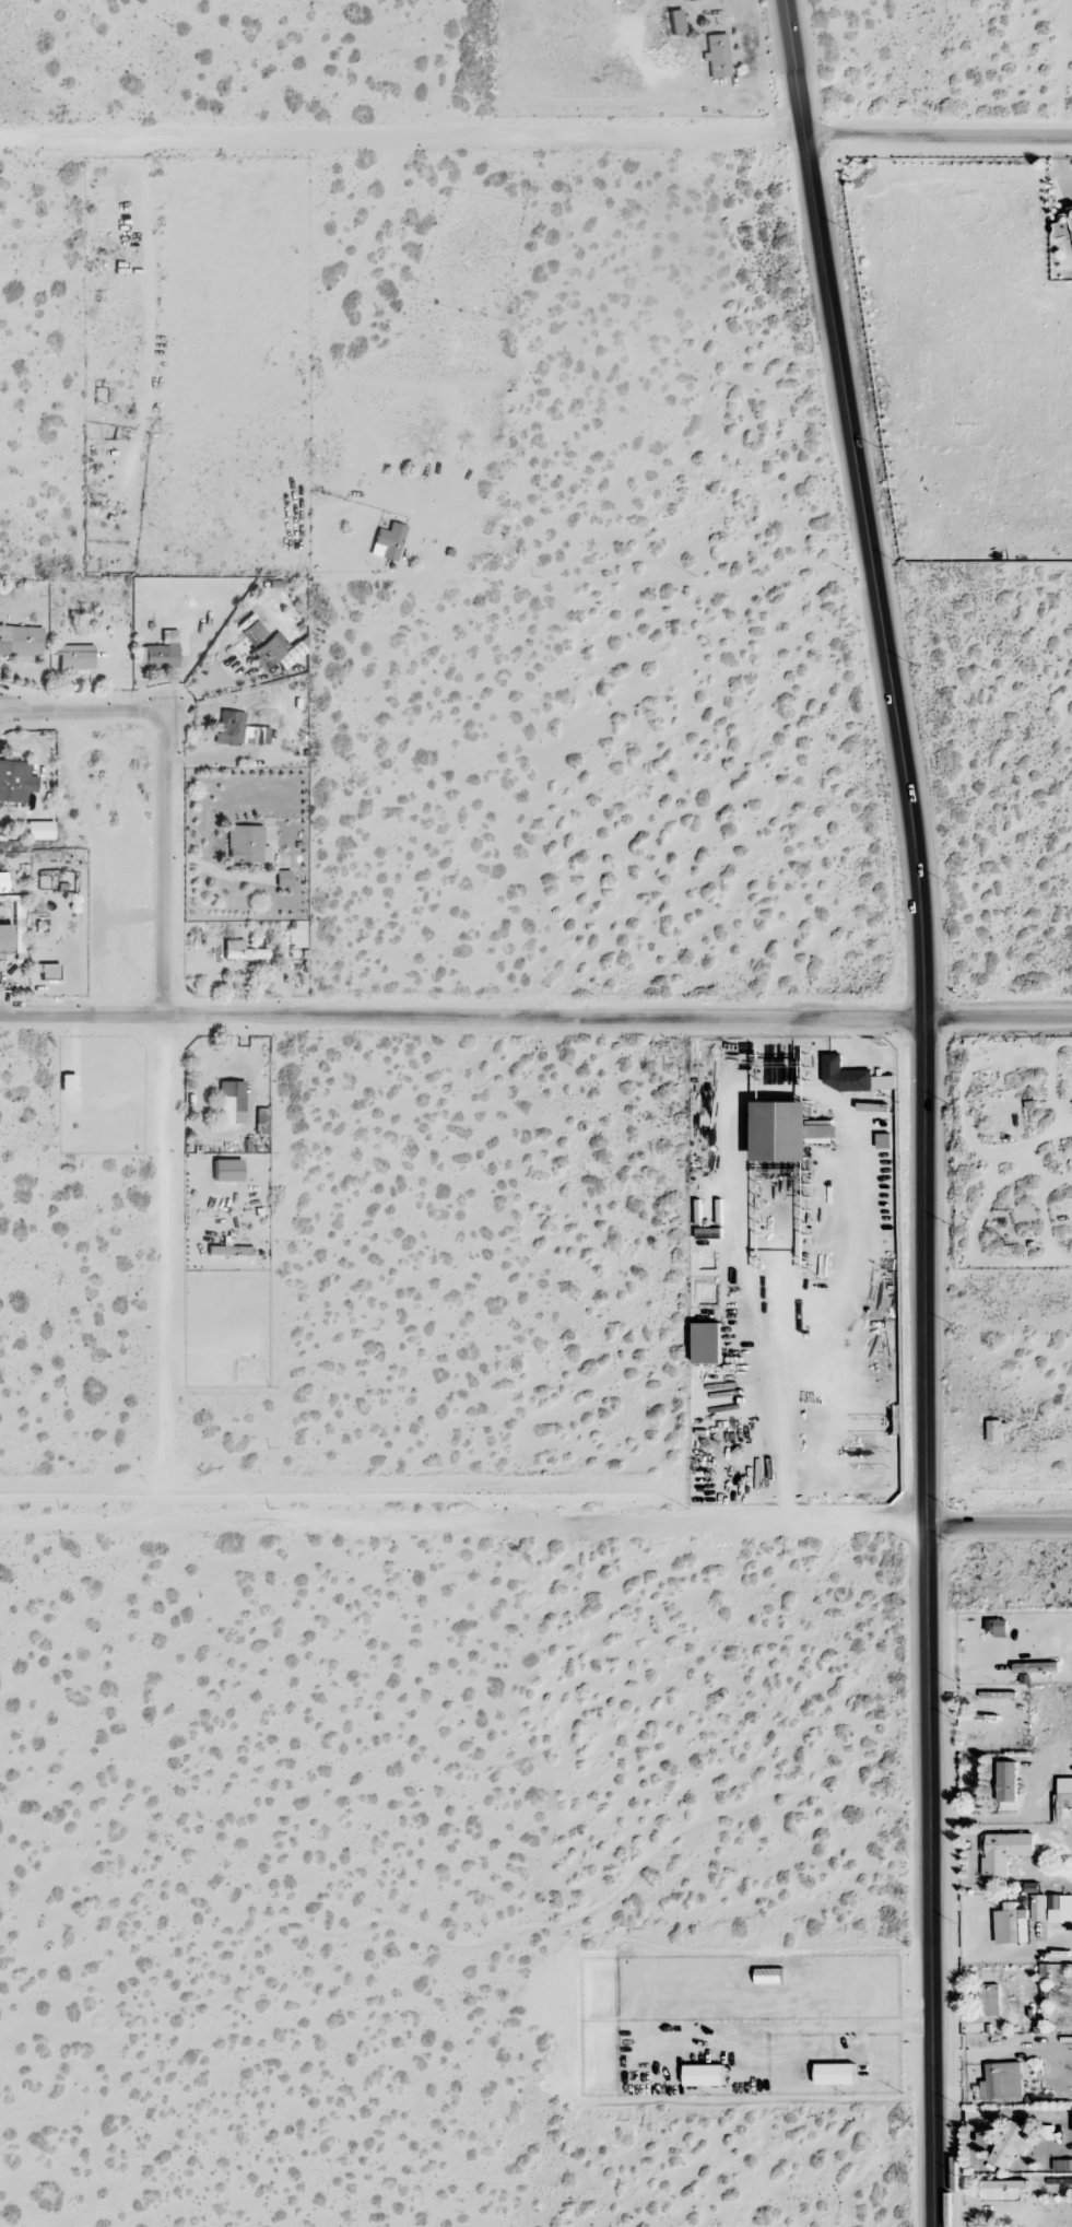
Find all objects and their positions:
building: (674, 22)
building: (715, 56)
road: (535, 137)
building: (1071, 209)
building: (1063, 227)
building: (387, 542)
building: (20, 642)
building: (267, 648)
building: (162, 652)
building: (73, 657)
building: (237, 730)
building: (14, 782)
building: (38, 831)
building: (245, 845)
building: (281, 879)
building: (2, 883)
building: (16, 925)
building: (4, 939)
building: (240, 951)
building: (45, 971)
road: (535, 1017)
road: (167, 1029)
building: (881, 1082)
building: (229, 1102)
road: (926, 1107)
building: (789, 1132)
building: (225, 1171)
building: (228, 1251)
building: (997, 1430)
road: (84, 1524)
road: (620, 1524)
building: (1036, 1667)
building: (1006, 1781)
building: (1063, 1802)
road: (998, 1817)
building: (1005, 1851)
building: (1038, 1908)
building: (1060, 1909)
building: (1009, 1924)
building: (989, 2000)
building: (1002, 2082)
building: (1011, 2144)
building: (1062, 2165)
building: (1003, 2190)

